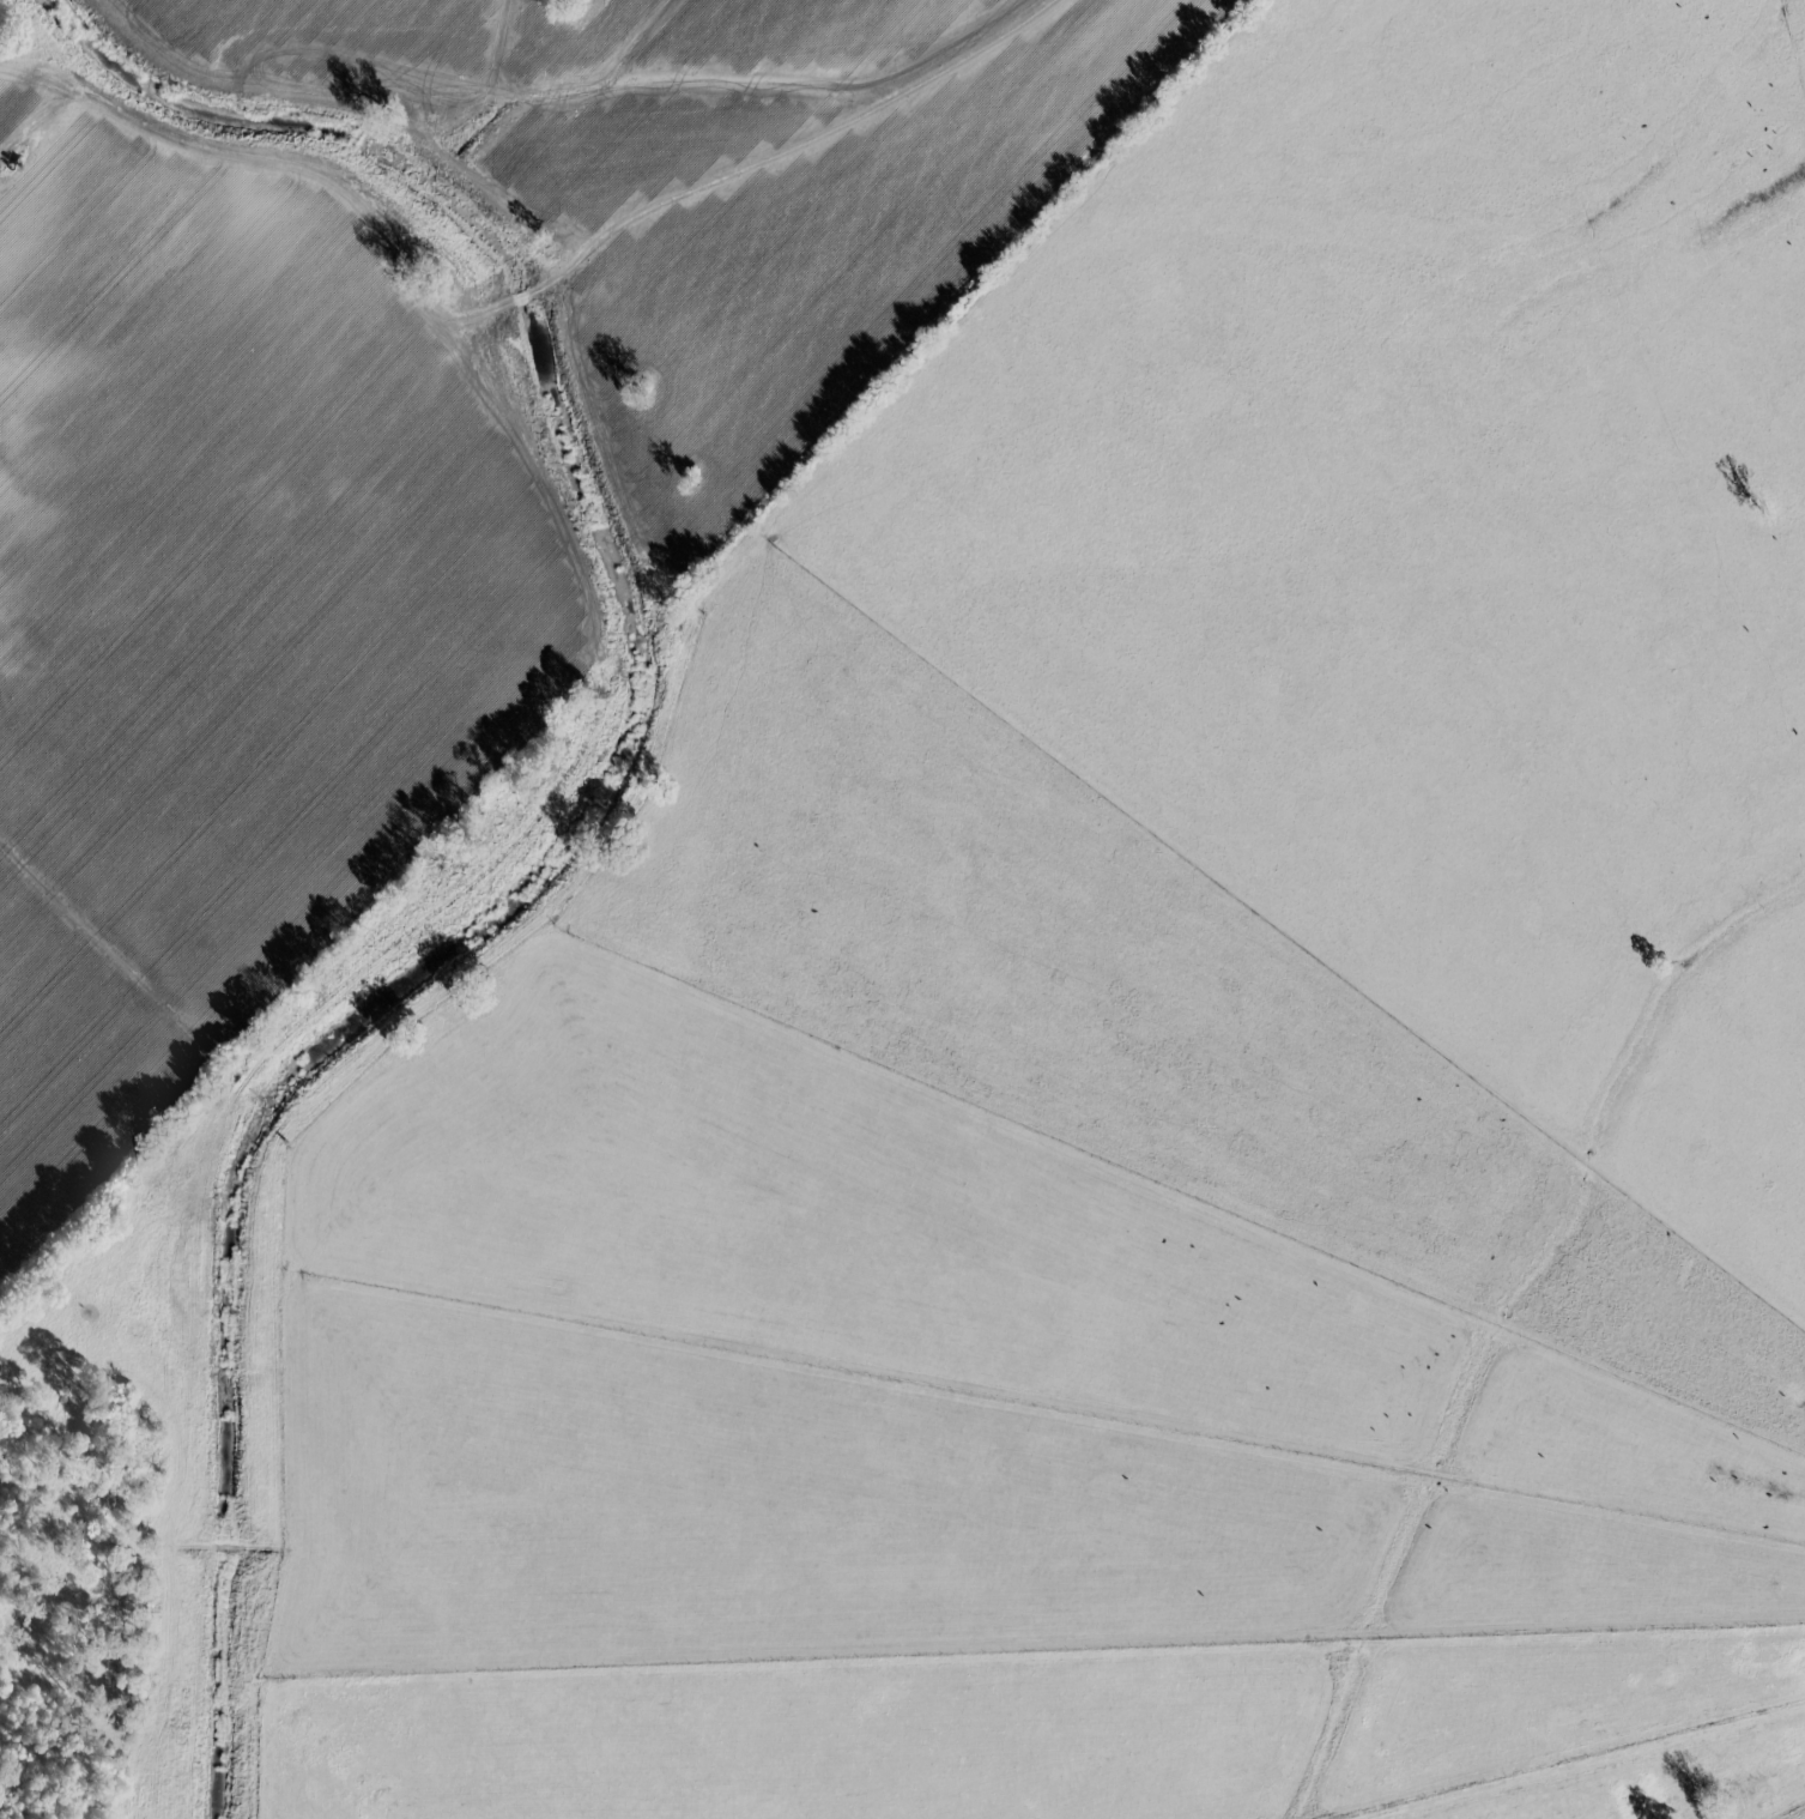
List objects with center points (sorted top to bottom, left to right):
road: (550, 242)

